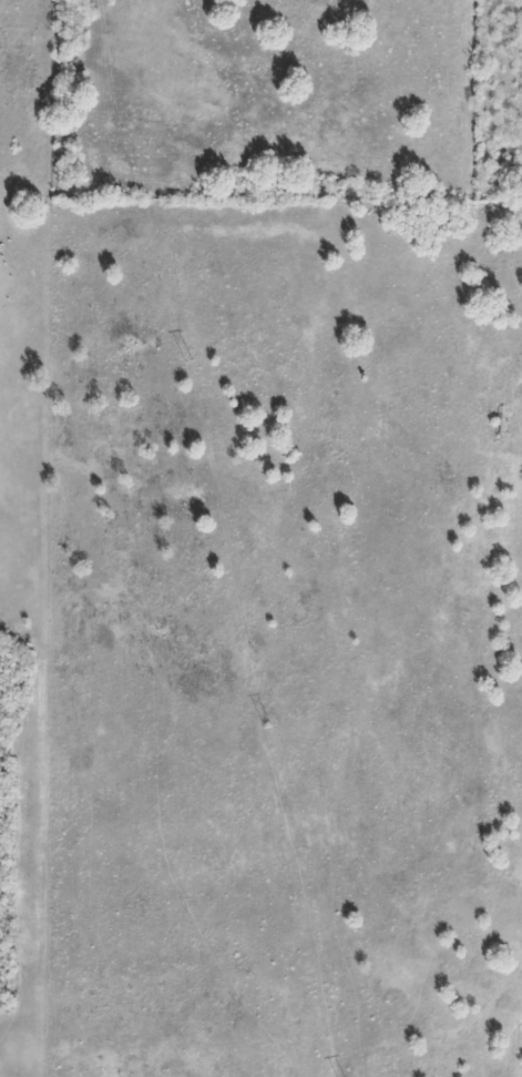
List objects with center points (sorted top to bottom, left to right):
power tower: (186, 360)
power tower: (265, 724)

